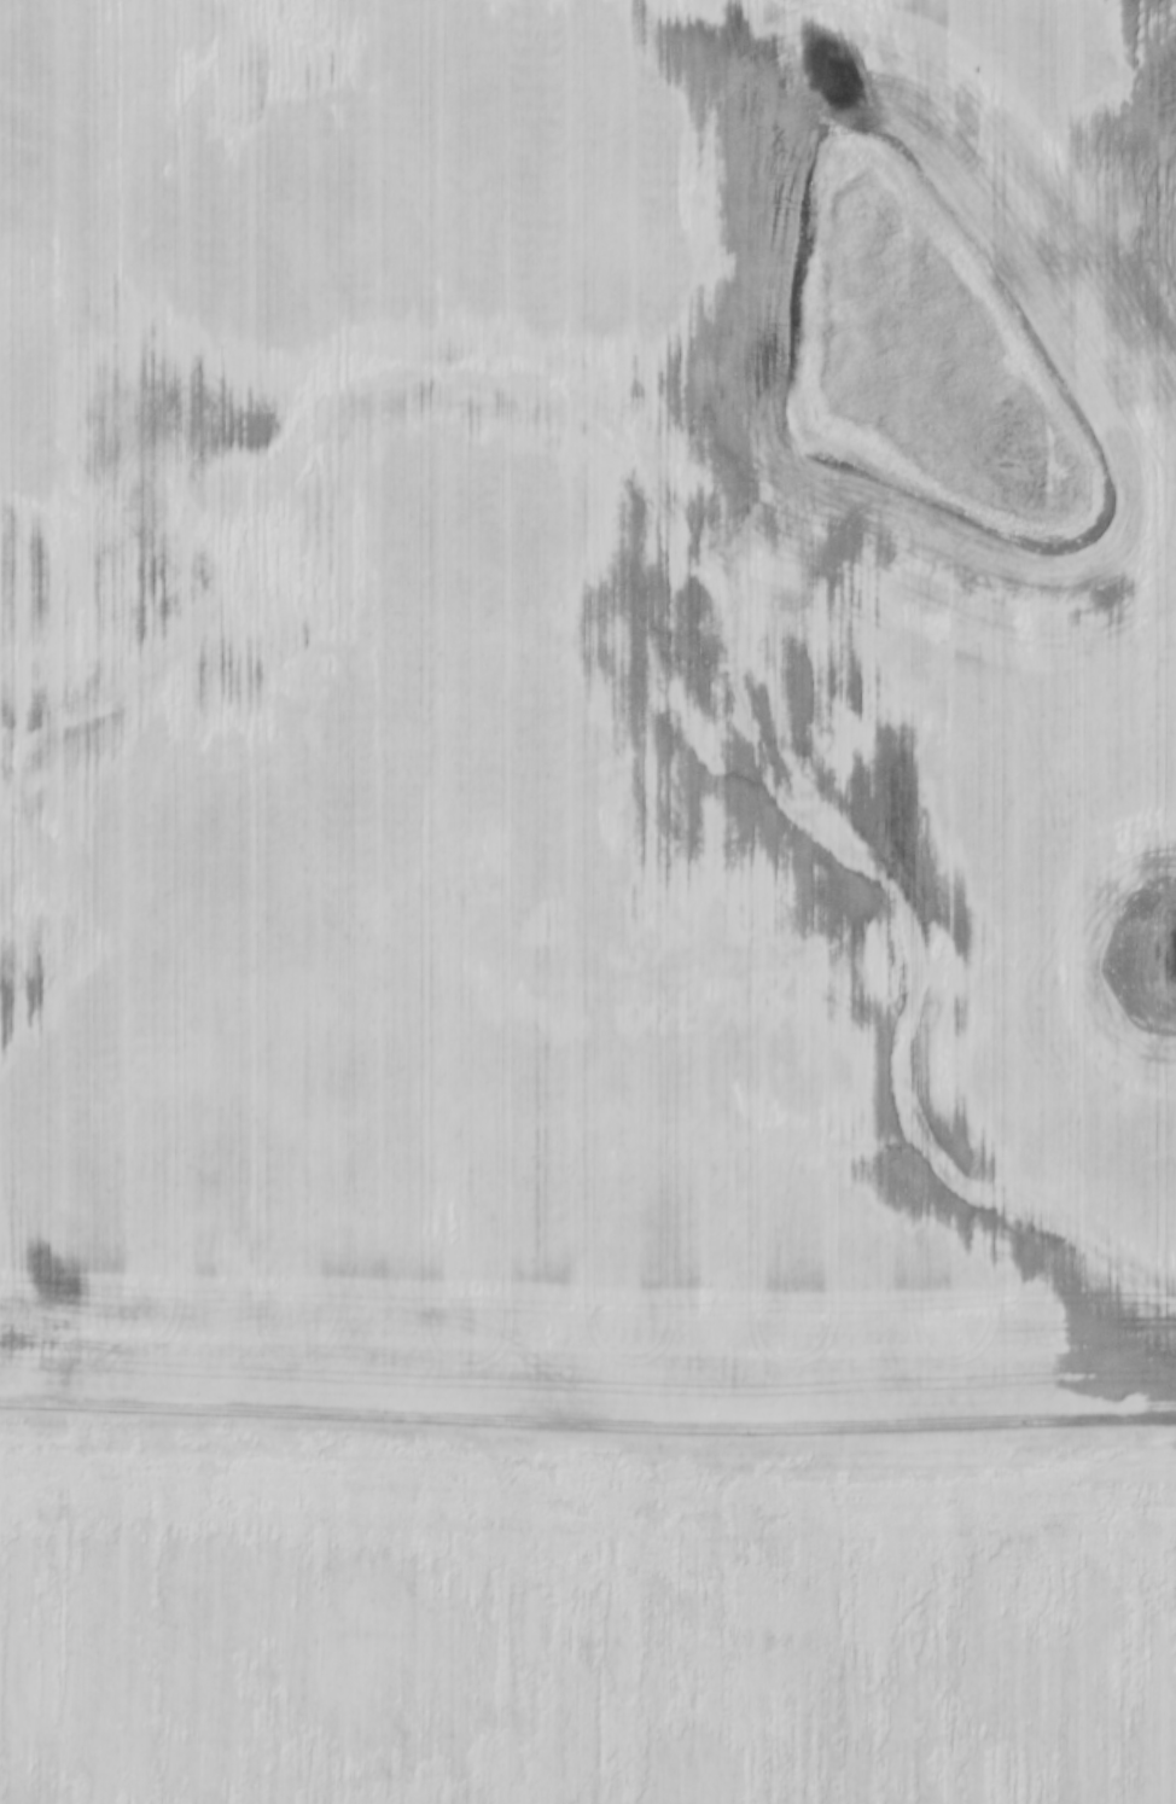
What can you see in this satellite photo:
road: (587, 1422)

